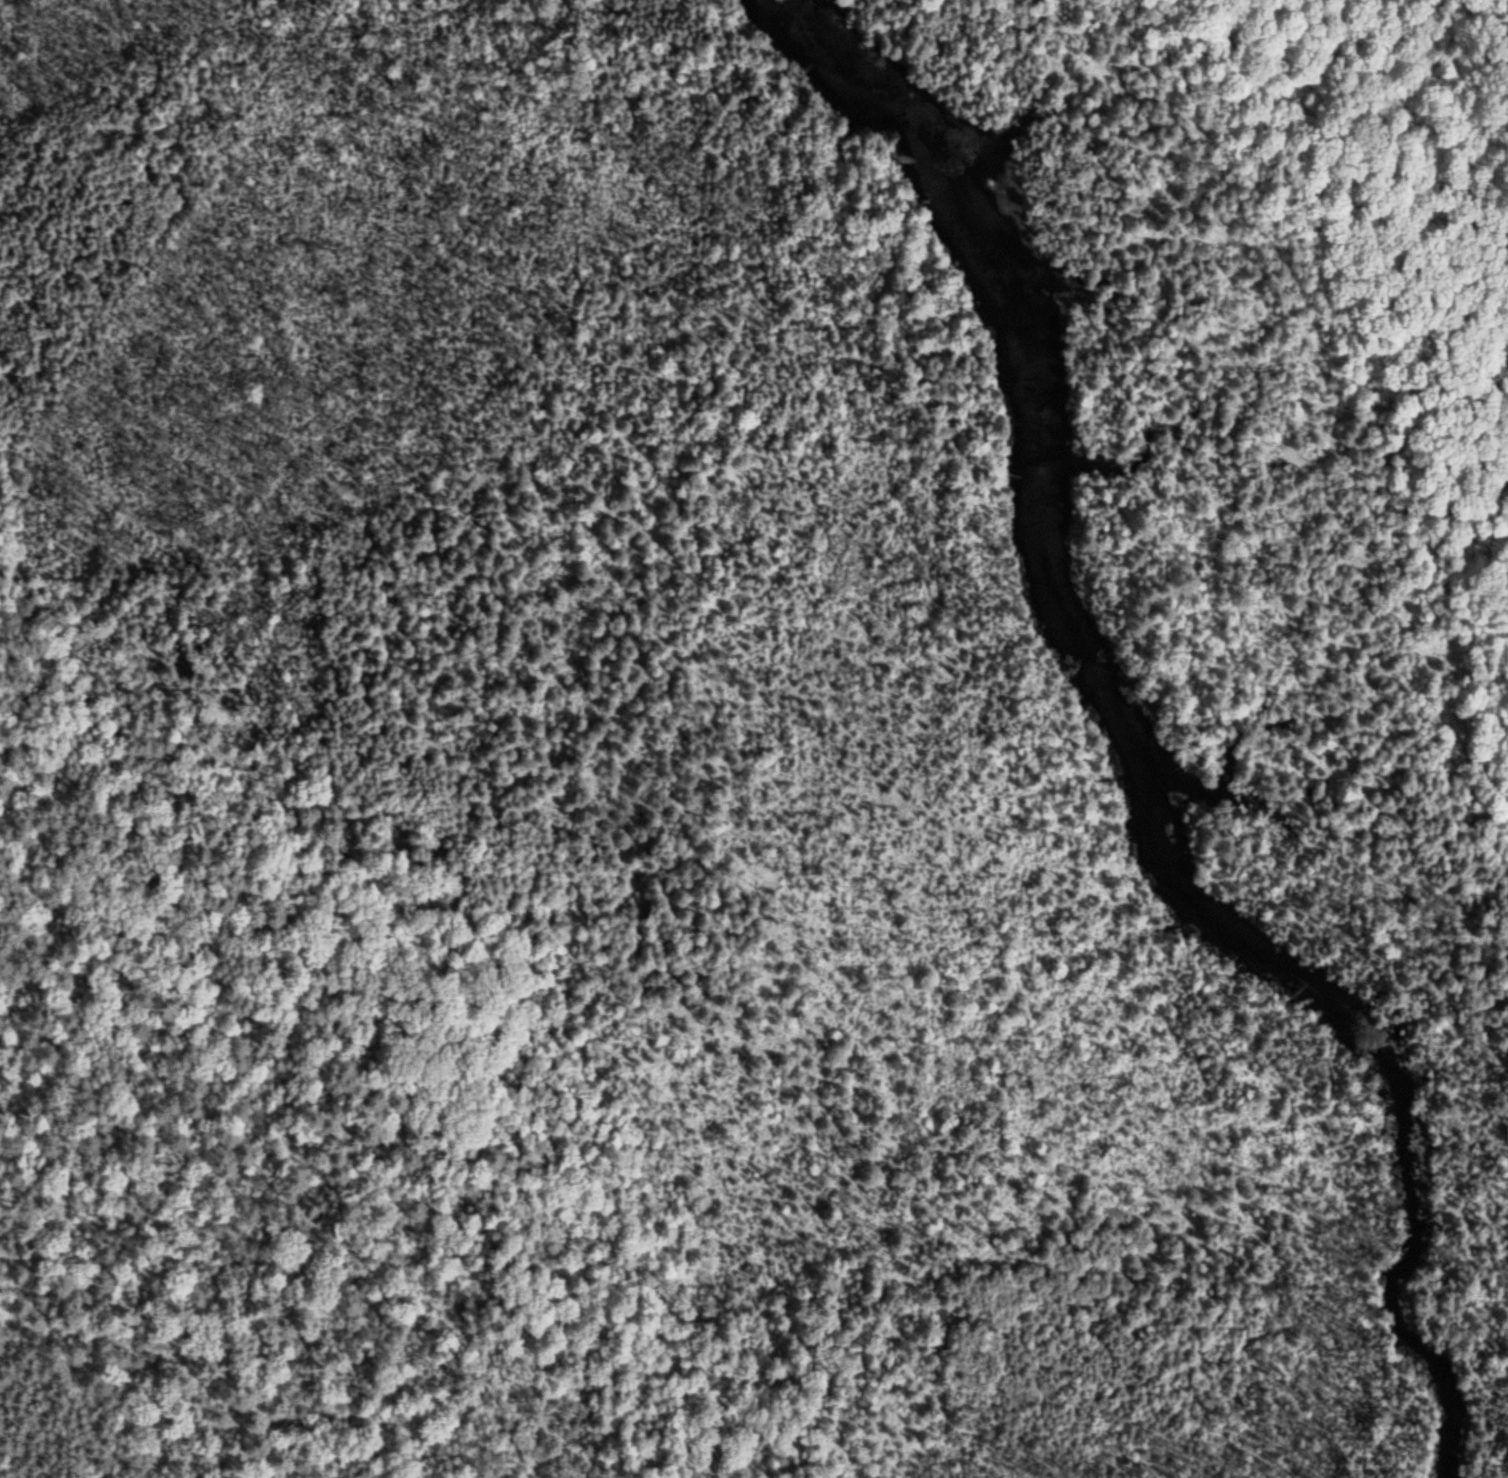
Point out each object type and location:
road: (1391, 141)
river: (1121, 757)

